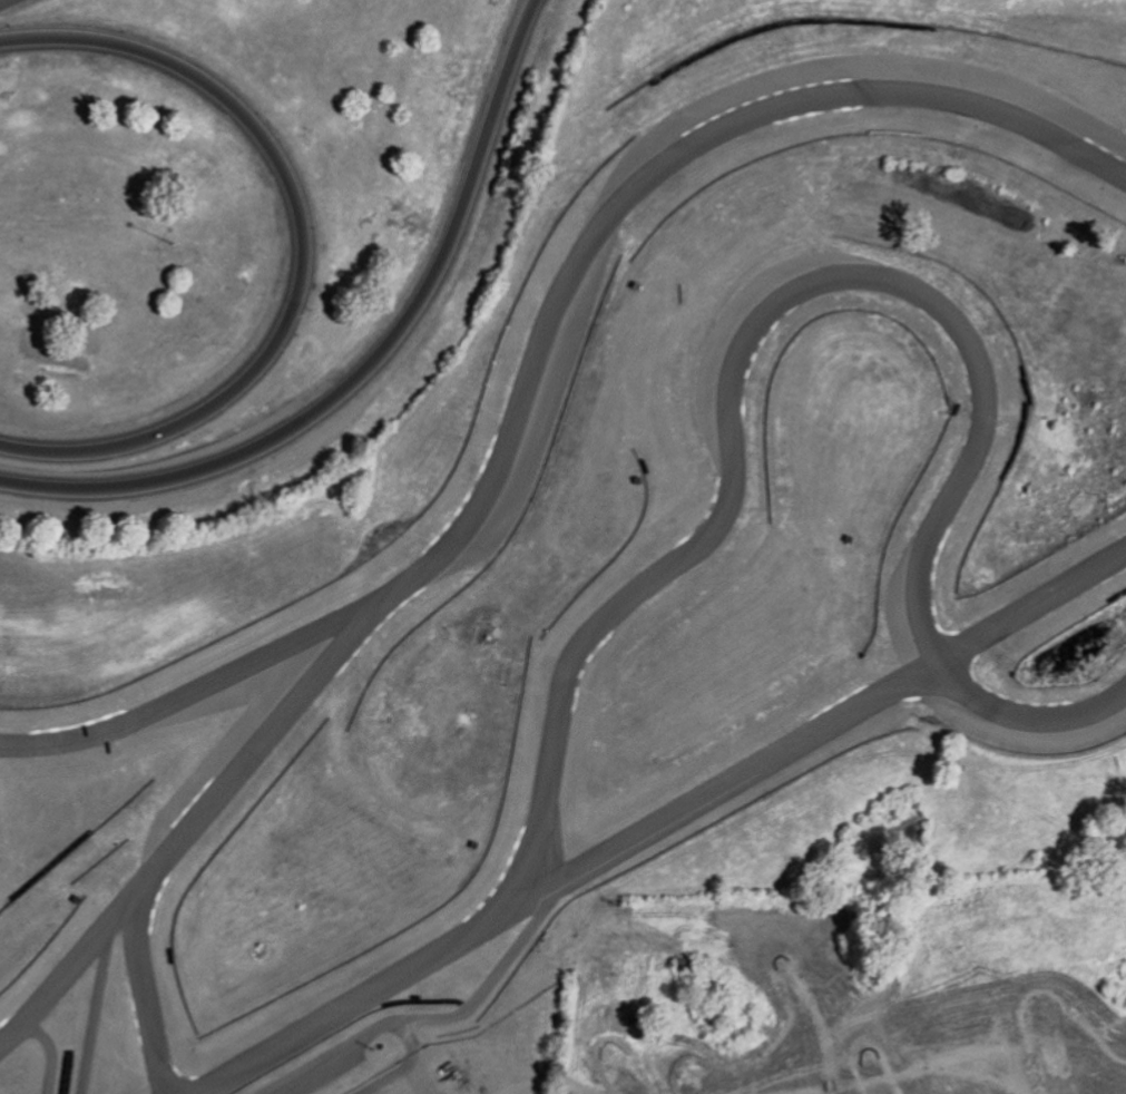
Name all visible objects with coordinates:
road: (300, 247)
raceway: (544, 352)
road: (369, 363)
raceway: (719, 419)
raceway: (821, 725)
raceway: (174, 842)
raceway: (146, 979)
raceway: (435, 1018)

